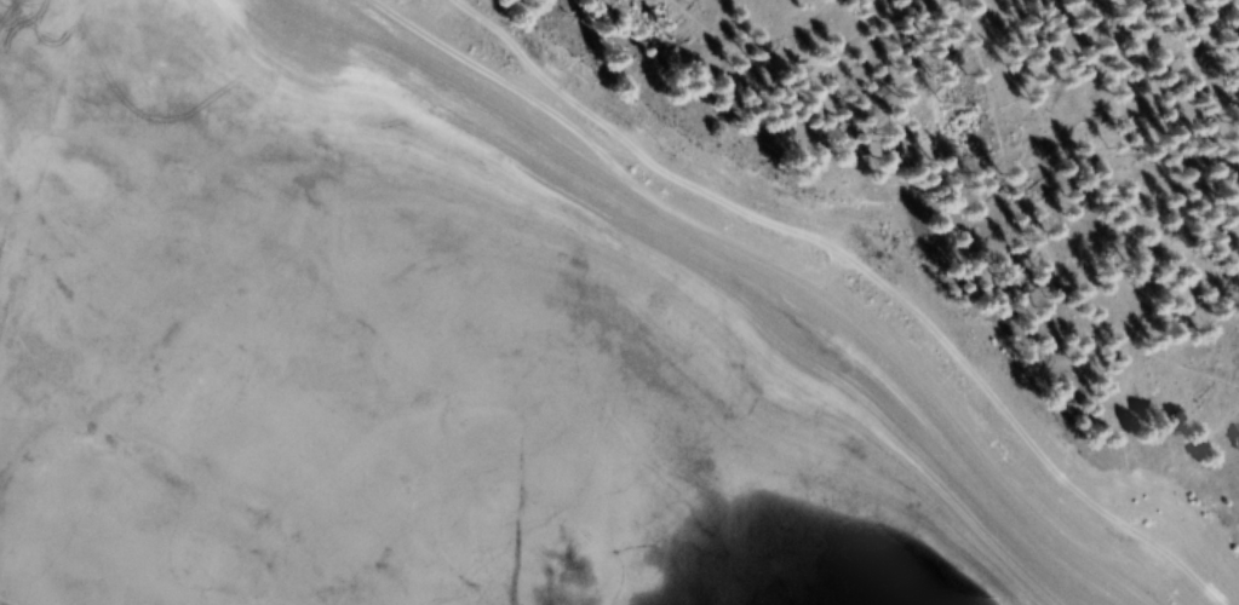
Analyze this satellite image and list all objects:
road: (987, 102)

